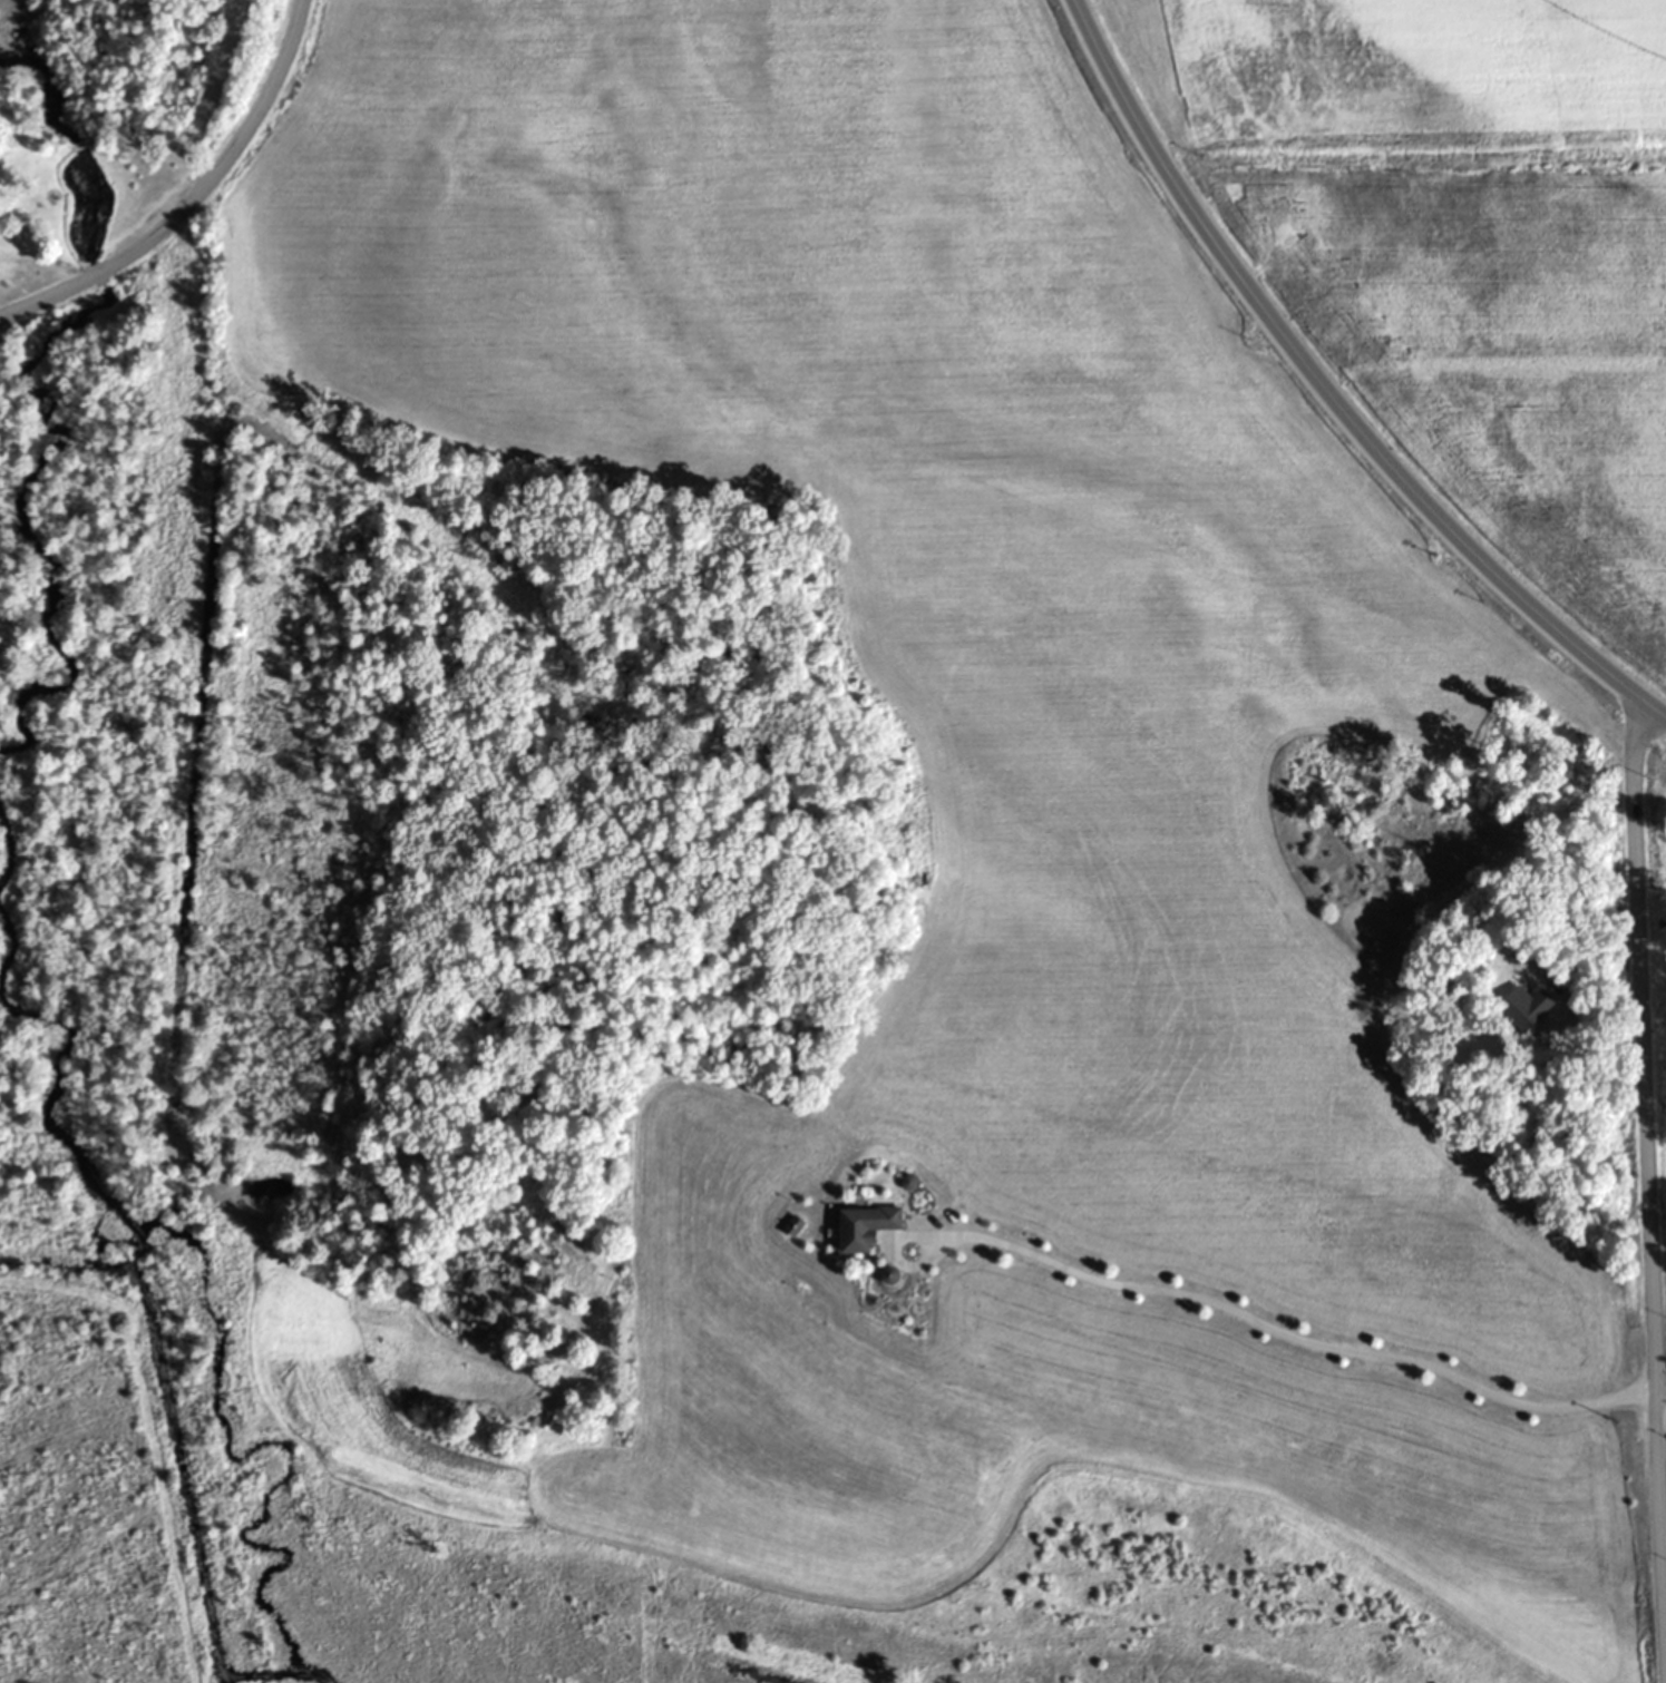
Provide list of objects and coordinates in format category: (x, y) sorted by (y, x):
road: (197, 203)
road: (1331, 392)
building: (1524, 1005)
road: (1649, 1195)
building: (791, 1225)
building: (864, 1226)
road: (1228, 1308)
road: (1662, 1419)

